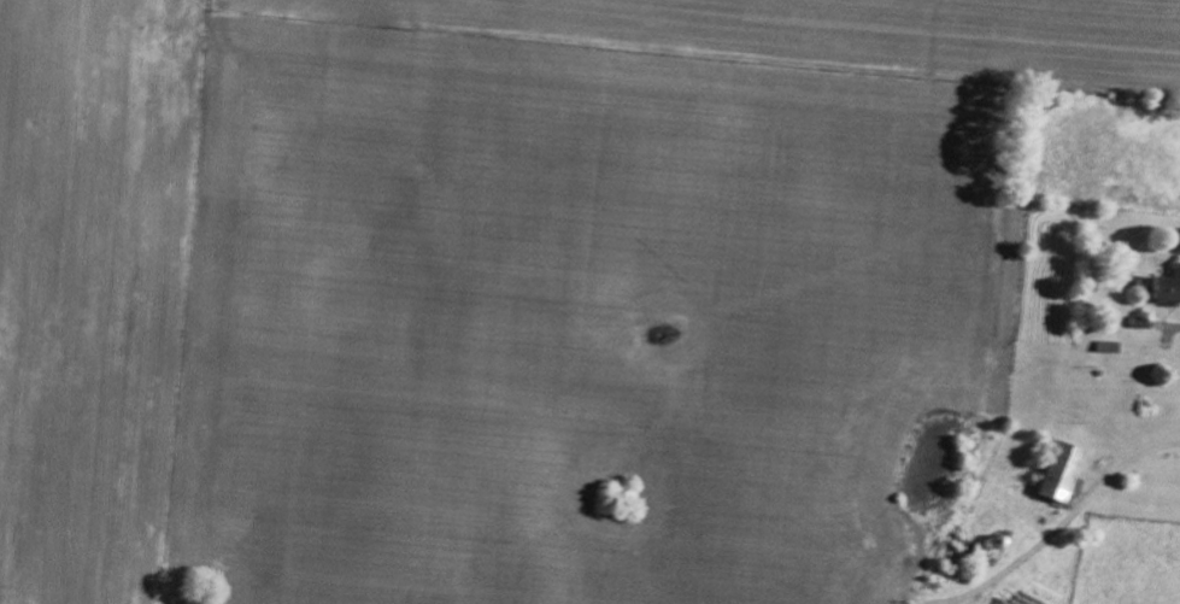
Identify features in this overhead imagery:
road: (1152, 448)
building: (1062, 471)
road: (1044, 543)

